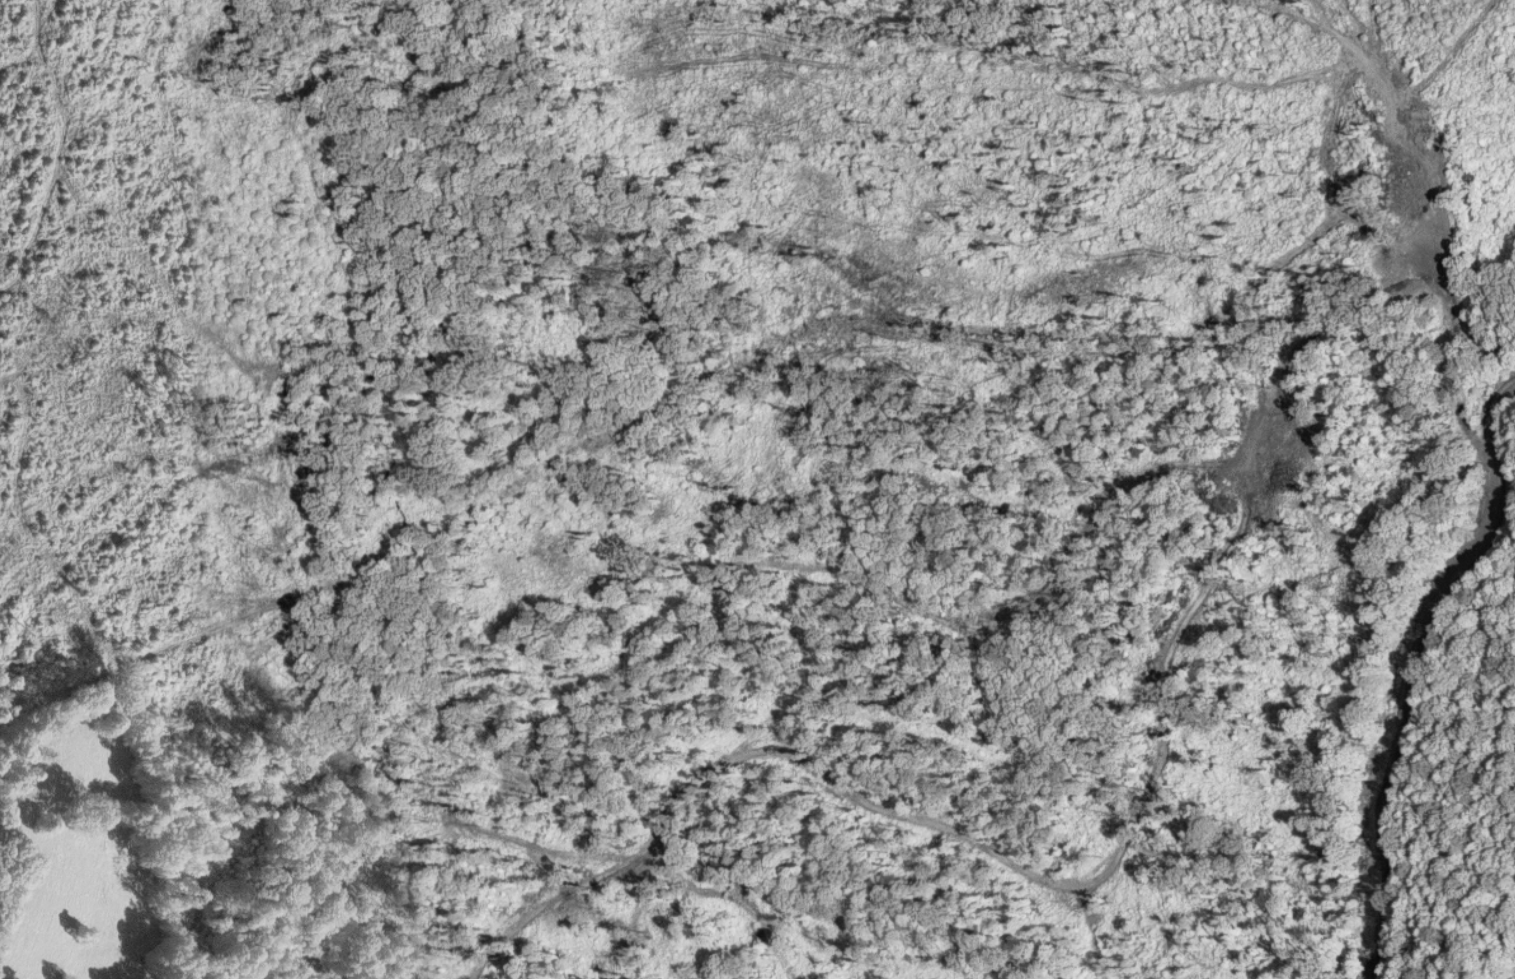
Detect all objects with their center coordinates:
road: (1405, 662)

